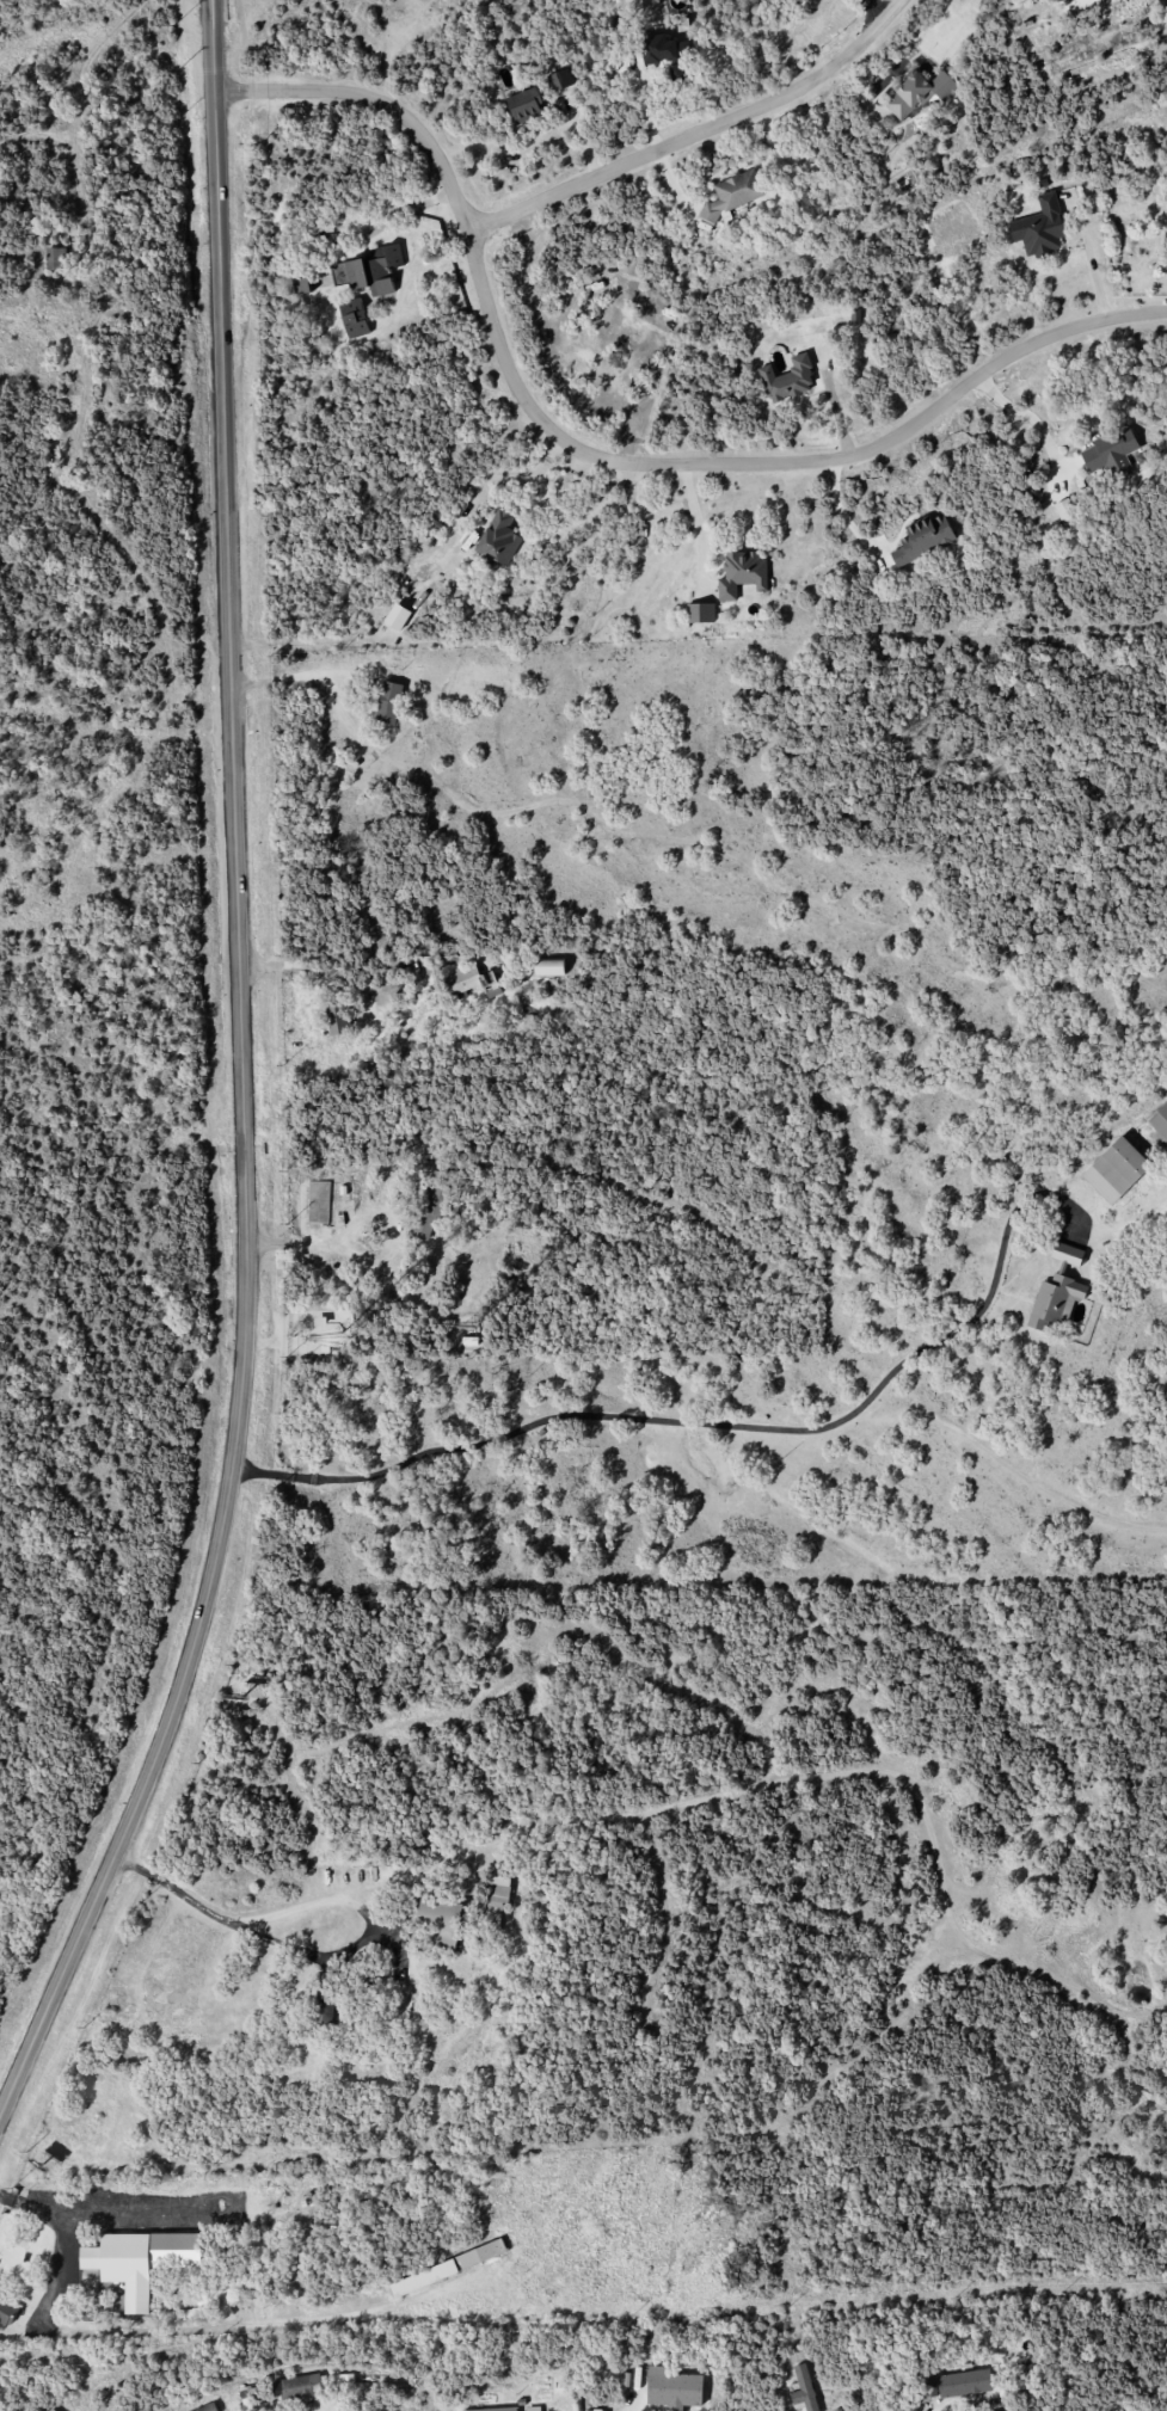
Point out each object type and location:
building: (1057, 0)
road: (876, 12)
building: (659, 50)
building: (677, 72)
building: (560, 79)
building: (919, 92)
building: (526, 105)
road: (699, 134)
building: (733, 193)
road: (404, 211)
building: (1039, 227)
building: (1166, 239)
building: (56, 258)
road: (1089, 258)
building: (369, 270)
building: (300, 282)
building: (354, 318)
building: (788, 380)
road: (1026, 414)
building: (1112, 453)
road: (597, 456)
building: (1065, 512)
building: (499, 537)
building: (923, 539)
building: (742, 573)
building: (700, 613)
building: (398, 616)
road: (303, 676)
building: (388, 701)
building: (549, 967)
road: (315, 968)
building: (473, 980)
building: (337, 1017)
road: (244, 1082)
building: (1159, 1120)
building: (1116, 1169)
building: (429, 1211)
building: (1067, 1253)
road: (360, 1255)
building: (1055, 1300)
road: (710, 1423)
road: (332, 1899)
building: (497, 1899)
building: (441, 1920)
road: (235, 1927)
building: (324, 2012)
building: (174, 2243)
building: (123, 2265)
building: (447, 2268)
building: (7, 2311)
road: (127, 2330)
building: (344, 2380)
building: (954, 2384)
building: (301, 2386)
building: (674, 2388)
building: (803, 2388)
building: (207, 2407)
building: (51, 2409)
building: (492, 2409)

